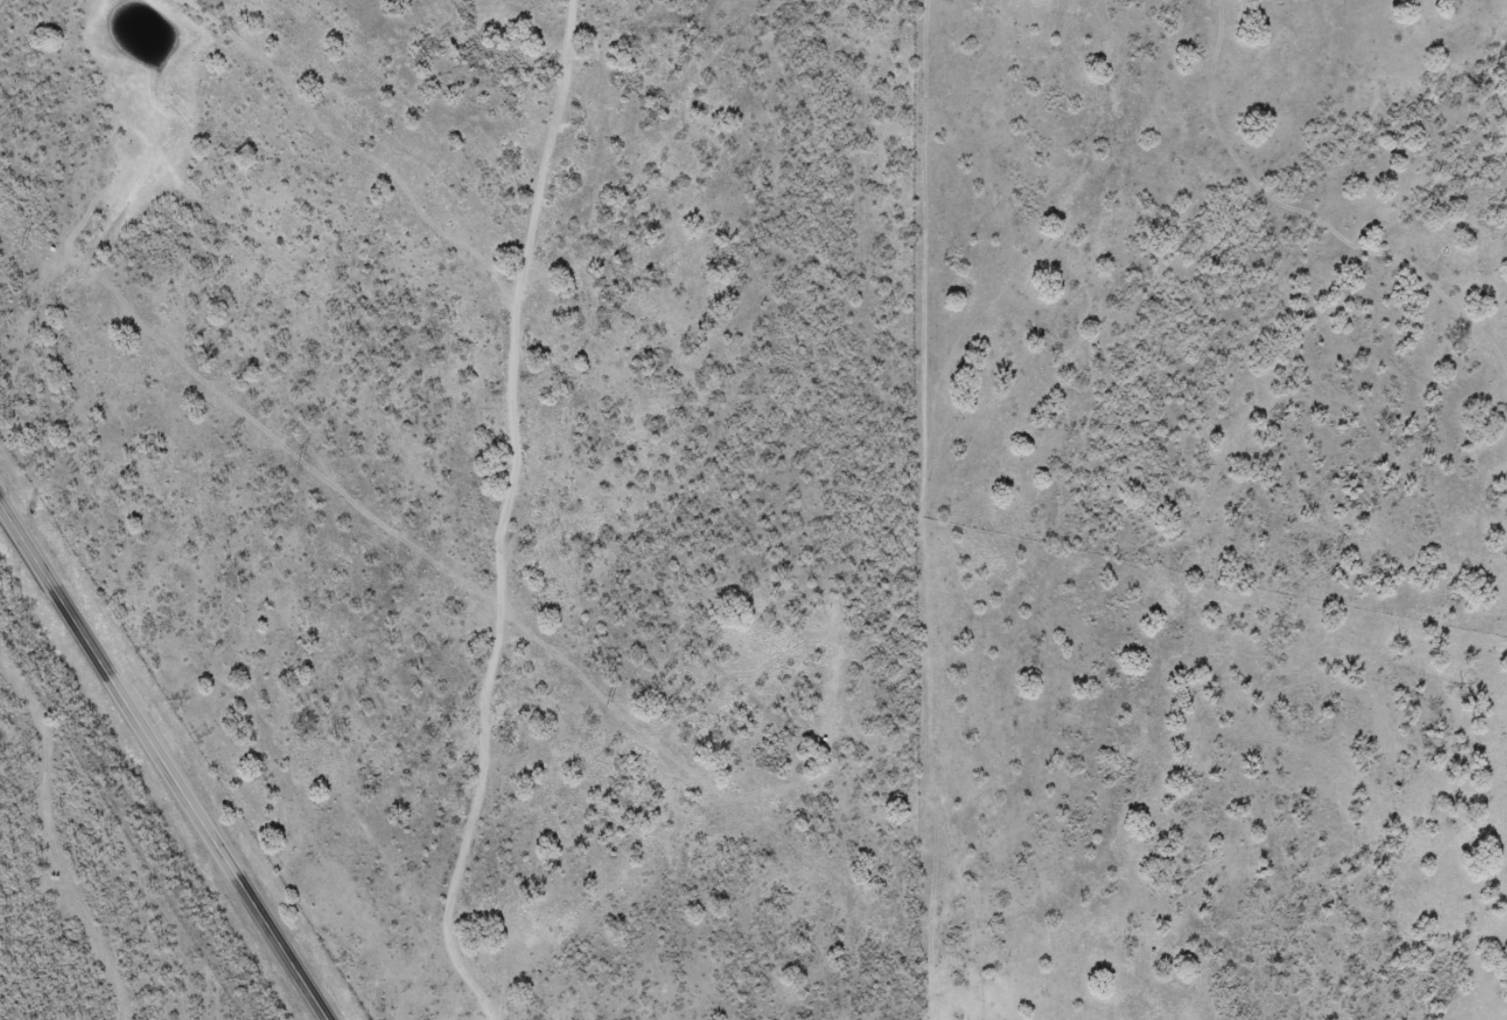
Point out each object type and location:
power tower: (31, 246)
power tower: (301, 460)
road: (513, 502)
power tower: (606, 705)
road: (164, 760)
power tower: (909, 942)

